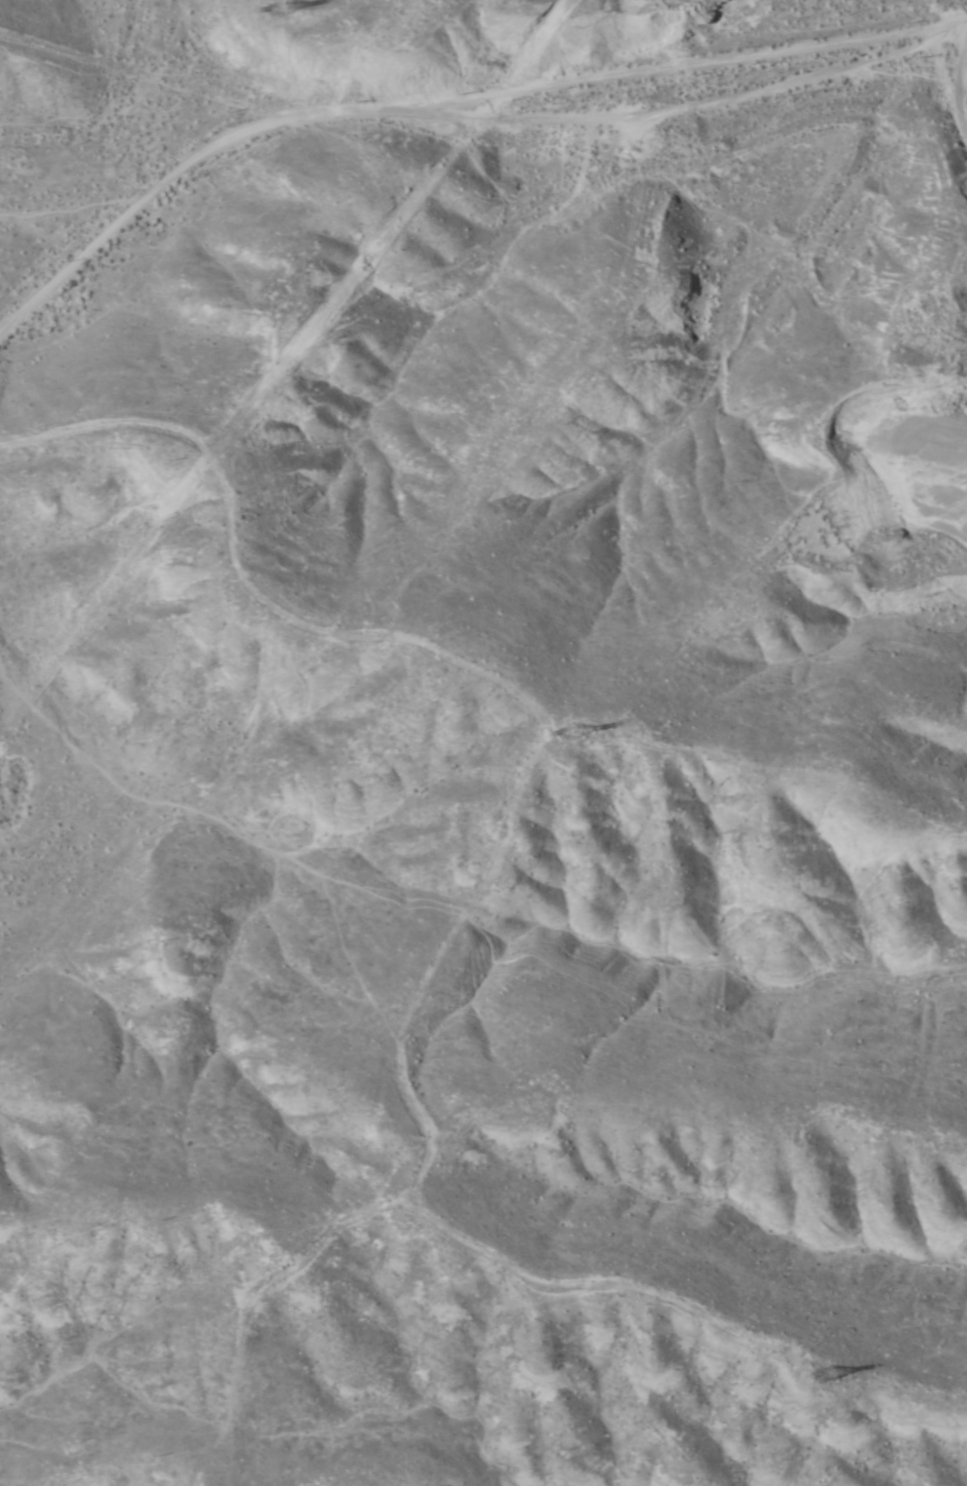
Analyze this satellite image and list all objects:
power tower: (280, 10)
road: (449, 109)
road: (931, 165)
power tower: (572, 734)
power tower: (825, 1374)

